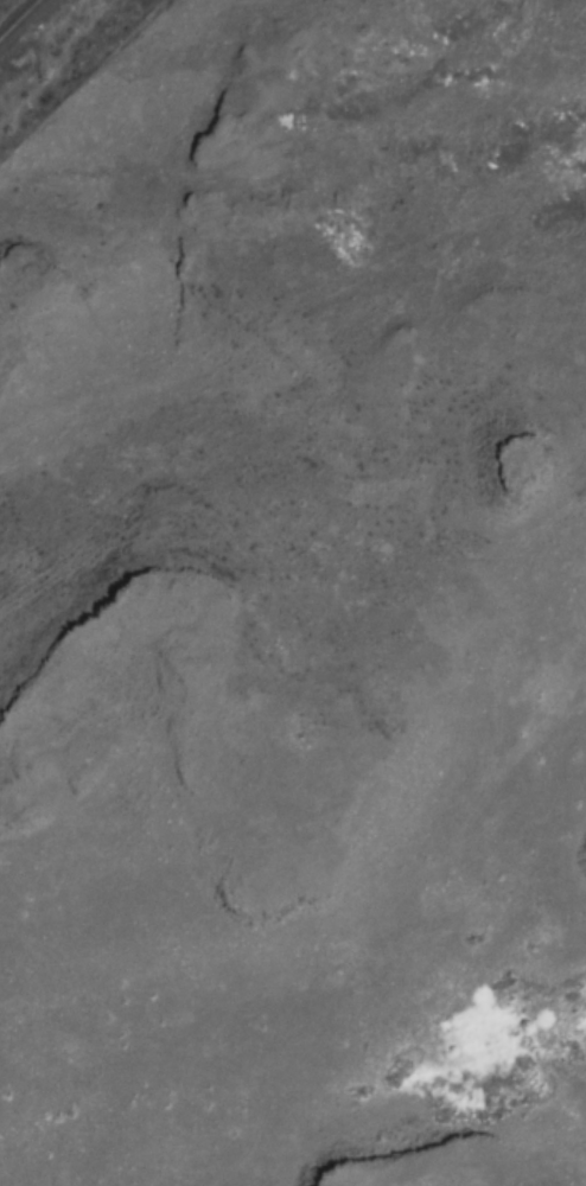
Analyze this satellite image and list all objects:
railway: (27, 27)

